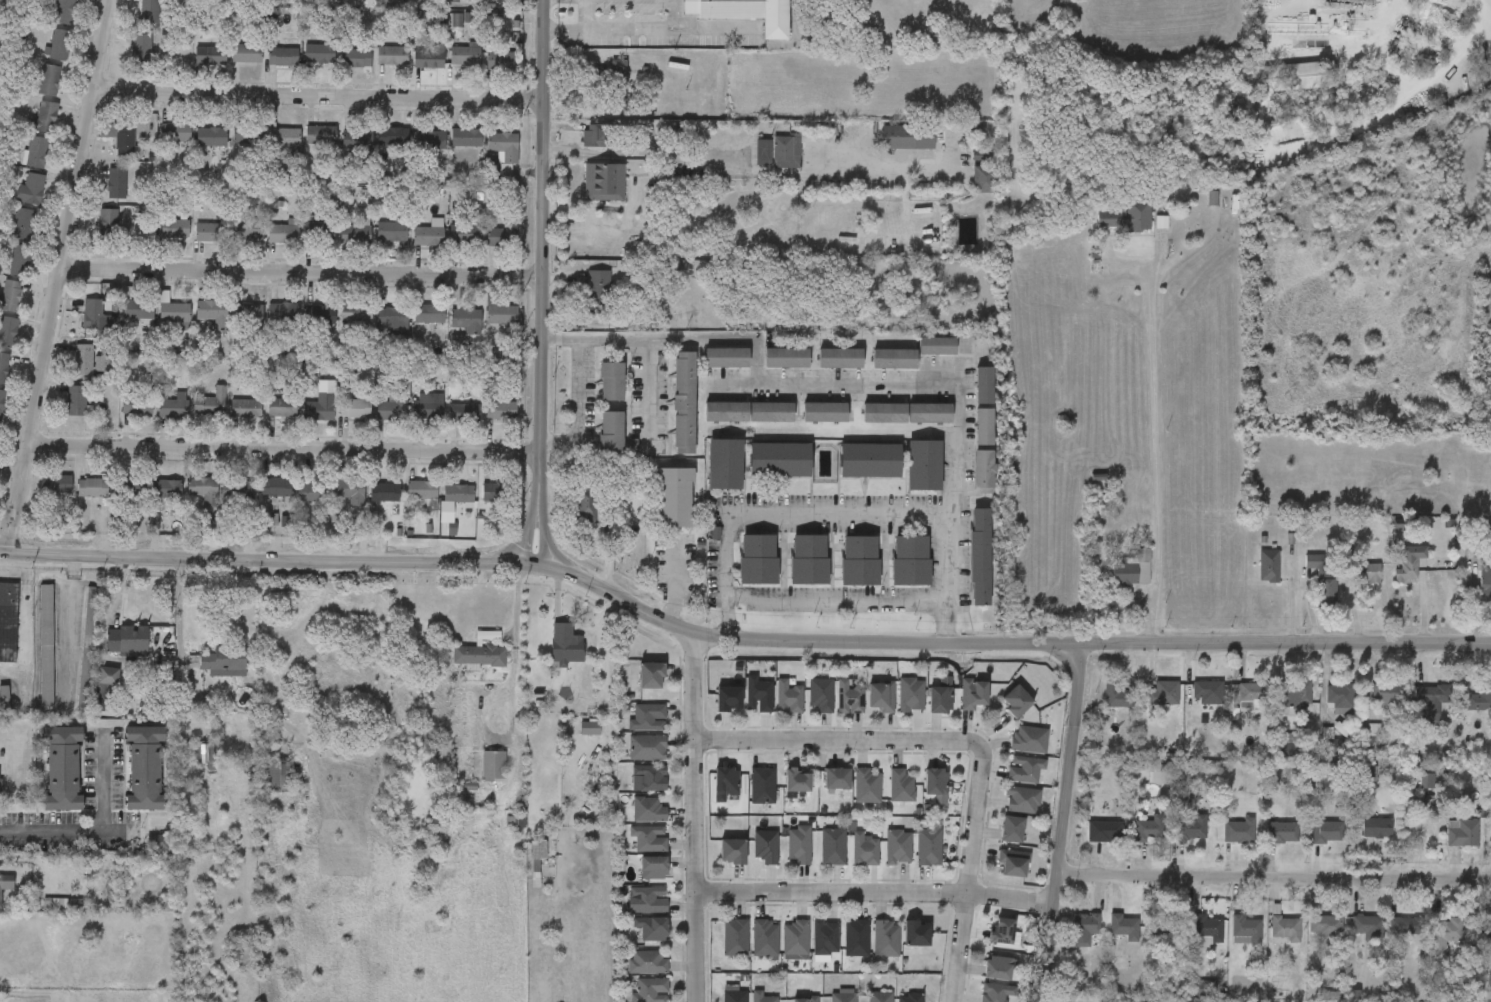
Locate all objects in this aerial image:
building: (63, 11)
building: (148, 11)
building: (745, 12)
road: (675, 16)
building: (458, 20)
road: (713, 31)
road: (610, 33)
road: (1330, 33)
building: (934, 34)
building: (60, 45)
building: (141, 48)
building: (246, 53)
building: (319, 53)
building: (392, 55)
building: (283, 56)
building: (429, 56)
building: (356, 57)
building: (465, 57)
building: (500, 60)
building: (618, 74)
building: (1309, 74)
building: (49, 80)
road: (319, 95)
building: (45, 116)
building: (244, 131)
building: (178, 134)
building: (597, 134)
building: (321, 135)
building: (908, 135)
building: (120, 137)
building: (211, 137)
building: (285, 137)
building: (393, 137)
building: (466, 137)
building: (433, 140)
building: (356, 142)
building: (504, 146)
building: (762, 149)
building: (785, 150)
building: (37, 151)
building: (979, 155)
road: (718, 161)
building: (983, 177)
building: (604, 179)
building: (116, 183)
building: (32, 188)
building: (1195, 212)
building: (23, 223)
building: (108, 225)
building: (173, 230)
building: (245, 230)
building: (391, 231)
building: (1111, 231)
building: (210, 232)
building: (319, 232)
building: (463, 233)
building: (279, 234)
building: (354, 236)
building: (424, 236)
building: (501, 237)
building: (316, 243)
building: (20, 260)
road: (302, 271)
road: (58, 279)
building: (598, 281)
road: (543, 282)
building: (10, 295)
building: (138, 310)
building: (247, 311)
building: (174, 312)
building: (283, 312)
building: (213, 313)
building: (92, 314)
building: (358, 314)
building: (429, 314)
building: (320, 315)
building: (502, 315)
building: (393, 318)
building: (466, 320)
building: (8, 331)
road: (671, 340)
building: (936, 345)
building: (726, 357)
building: (786, 357)
building: (839, 358)
building: (893, 359)
building: (89, 361)
building: (3, 366)
building: (610, 382)
building: (984, 386)
road: (647, 388)
road: (959, 393)
building: (2, 398)
building: (75, 400)
building: (213, 402)
building: (683, 403)
building: (136, 404)
road: (576, 405)
building: (174, 407)
building: (429, 407)
building: (282, 408)
building: (372, 408)
building: (246, 409)
building: (500, 410)
building: (320, 411)
building: (748, 412)
building: (462, 413)
building: (824, 413)
building: (907, 413)
building: (984, 427)
building: (611, 431)
road: (285, 448)
road: (1156, 455)
building: (779, 460)
building: (869, 461)
building: (724, 465)
building: (923, 466)
building: (983, 470)
building: (338, 472)
building: (56, 484)
building: (131, 486)
building: (90, 487)
building: (275, 487)
building: (349, 487)
building: (166, 488)
building: (204, 489)
building: (421, 490)
building: (312, 491)
building: (385, 491)
building: (497, 491)
building: (459, 493)
building: (673, 498)
building: (592, 506)
road: (780, 514)
building: (336, 516)
building: (1386, 537)
building: (979, 557)
building: (757, 559)
building: (808, 559)
building: (859, 561)
building: (910, 561)
road: (7, 567)
road: (5, 574)
building: (1393, 577)
building: (1252, 579)
building: (1114, 583)
road: (675, 584)
building: (1352, 587)
building: (1306, 592)
building: (1476, 595)
road: (838, 602)
road: (179, 606)
building: (7, 622)
road: (569, 622)
road: (69, 623)
road: (737, 638)
building: (127, 639)
building: (46, 646)
building: (87, 648)
building: (566, 649)
building: (481, 650)
building: (222, 661)
building: (167, 664)
building: (107, 676)
building: (650, 676)
road: (606, 684)
building: (1164, 693)
building: (1207, 693)
building: (1253, 693)
building: (820, 694)
building: (973, 694)
building: (1295, 694)
building: (757, 695)
building: (911, 695)
building: (1388, 695)
building: (849, 696)
building: (1117, 696)
building: (787, 697)
building: (880, 697)
building: (1340, 698)
building: (4, 699)
building: (727, 699)
building: (939, 700)
building: (1479, 700)
building: (1016, 701)
building: (1430, 701)
building: (1190, 706)
building: (1148, 707)
building: (1369, 707)
building: (1278, 708)
building: (1234, 709)
building: (1100, 710)
building: (1003, 712)
building: (1323, 713)
building: (1464, 714)
building: (646, 717)
building: (1415, 717)
building: (589, 728)
building: (1028, 739)
building: (1374, 740)
road: (841, 741)
building: (646, 748)
building: (1357, 750)
building: (1016, 753)
building: (204, 755)
building: (1315, 759)
building: (1271, 760)
building: (493, 766)
building: (62, 769)
building: (144, 769)
building: (1024, 769)
building: (279, 776)
building: (649, 777)
building: (837, 779)
building: (796, 780)
building: (1427, 781)
building: (935, 782)
building: (724, 783)
building: (1013, 783)
building: (867, 785)
building: (762, 786)
building: (900, 786)
building: (1410, 794)
building: (1022, 800)
building: (647, 810)
building: (1011, 814)
road: (694, 817)
road: (1064, 822)
building: (1376, 825)
building: (1011, 829)
building: (1191, 829)
building: (1148, 830)
road: (98, 831)
building: (1104, 832)
building: (1238, 832)
building: (1326, 832)
building: (1282, 833)
building: (1462, 833)
building: (1490, 833)
building: (648, 837)
building: (157, 841)
building: (1360, 841)
building: (1002, 842)
building: (1133, 842)
building: (1176, 842)
building: (1222, 844)
building: (798, 845)
building: (1087, 845)
building: (1309, 845)
building: (765, 846)
building: (897, 846)
building: (1266, 846)
building: (1445, 846)
building: (1482, 846)
building: (832, 847)
building: (928, 847)
building: (538, 850)
building: (863, 850)
building: (732, 851)
building: (1012, 863)
building: (652, 867)
building: (1005, 876)
road: (967, 878)
road: (1274, 879)
building: (5, 885)
road: (876, 891)
building: (648, 898)
building: (1168, 924)
building: (1124, 926)
building: (1325, 926)
building: (1407, 926)
building: (1369, 927)
building: (650, 928)
building: (1085, 928)
building: (1285, 929)
building: (1246, 930)
building: (1449, 930)
building: (1001, 931)
building: (1207, 931)
building: (1487, 933)
building: (916, 934)
building: (734, 937)
building: (795, 937)
building: (824, 937)
building: (764, 938)
building: (856, 938)
building: (886, 939)
building: (1309, 939)
building: (1386, 939)
building: (1107, 940)
building: (1142, 941)
building: (1351, 941)
building: (1068, 942)
building: (1269, 942)
building: (1434, 943)
building: (1229, 944)
building: (1189, 945)
building: (1476, 947)
building: (646, 962)
building: (998, 968)
building: (1206, 989)
building: (649, 991)
building: (995, 992)
building: (733, 994)
building: (761, 997)
building: (842, 997)
building: (879, 997)
building: (1186, 997)
building: (909, 998)
building: (804, 999)

